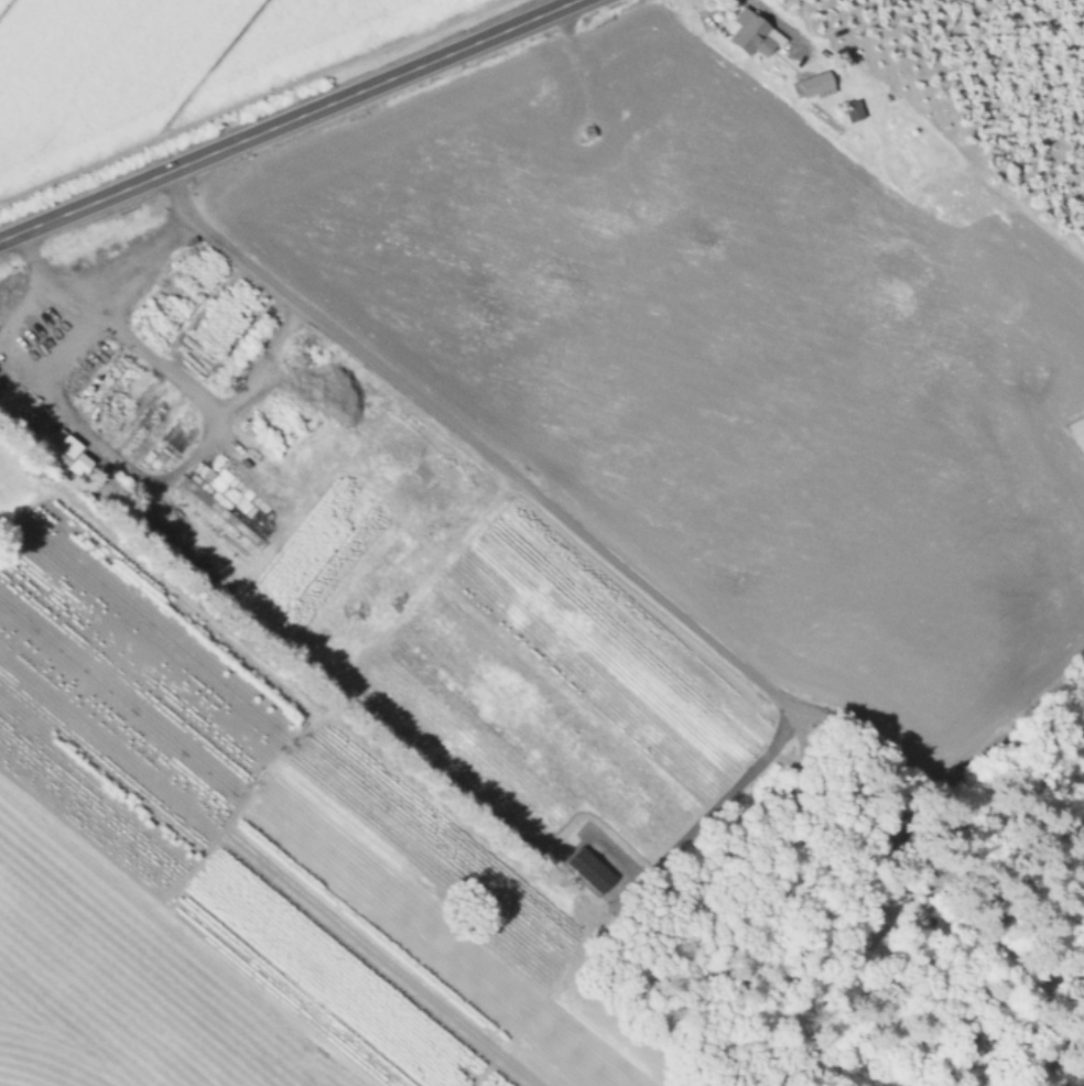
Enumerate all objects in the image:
road: (776, 14)
building: (742, 31)
crop: (167, 69)
building: (813, 87)
building: (852, 112)
road: (288, 121)
building: (58, 450)
road: (503, 463)
road: (143, 466)
crop: (346, 677)
road: (728, 781)
crop: (117, 988)

